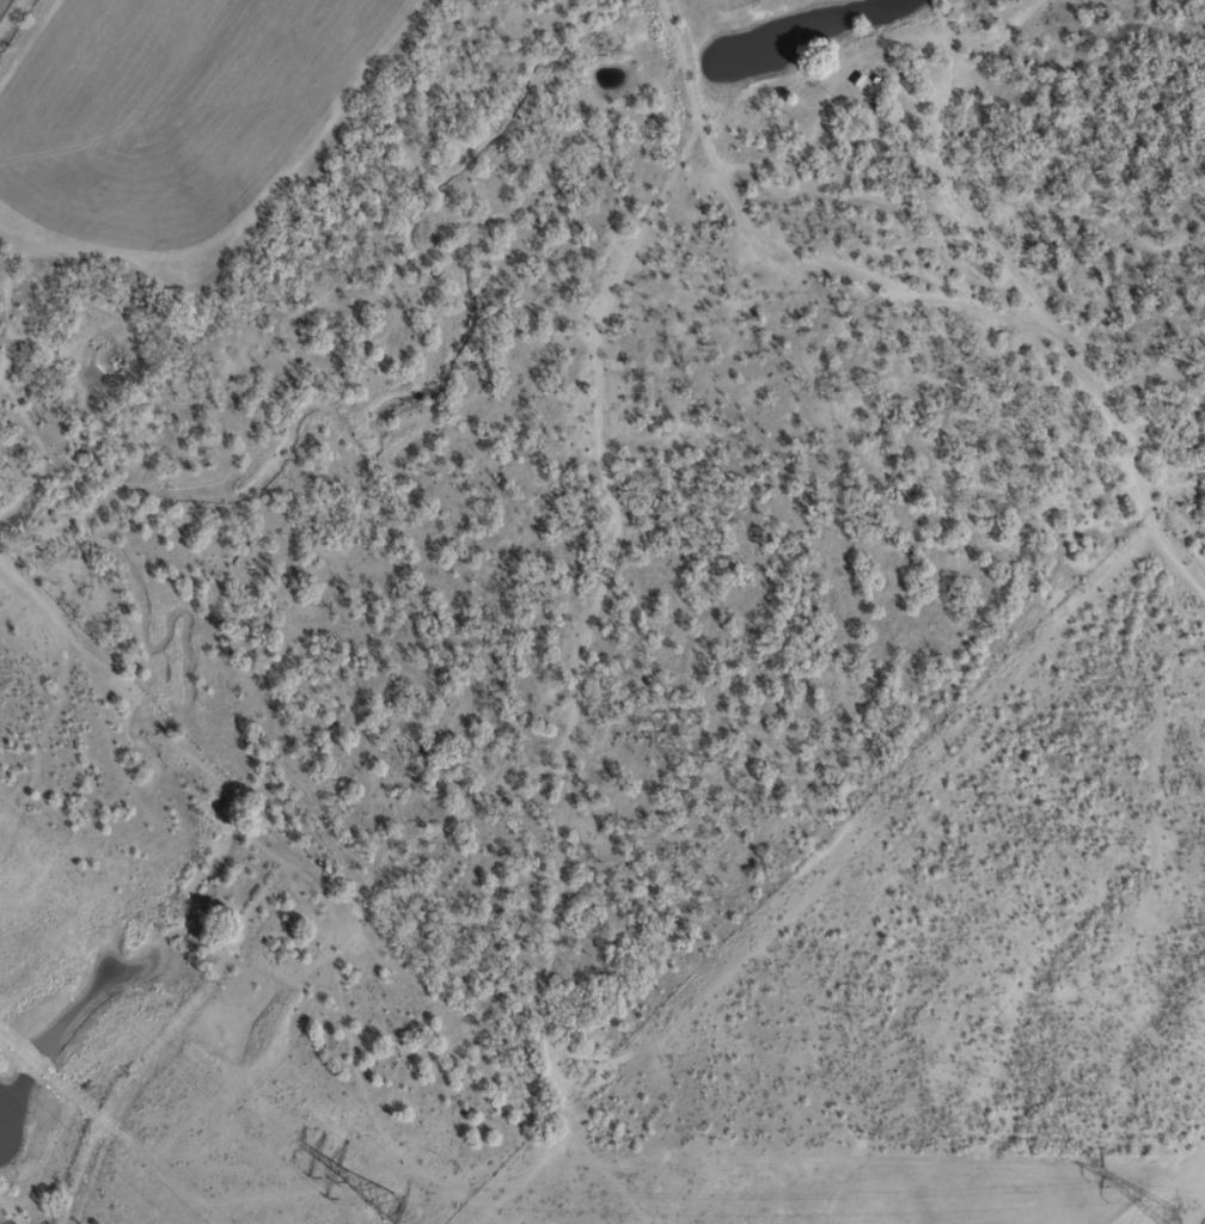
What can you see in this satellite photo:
road: (1, 2)
road: (642, 88)
road: (787, 881)
power tower: (387, 1208)
power tower: (1160, 1213)

